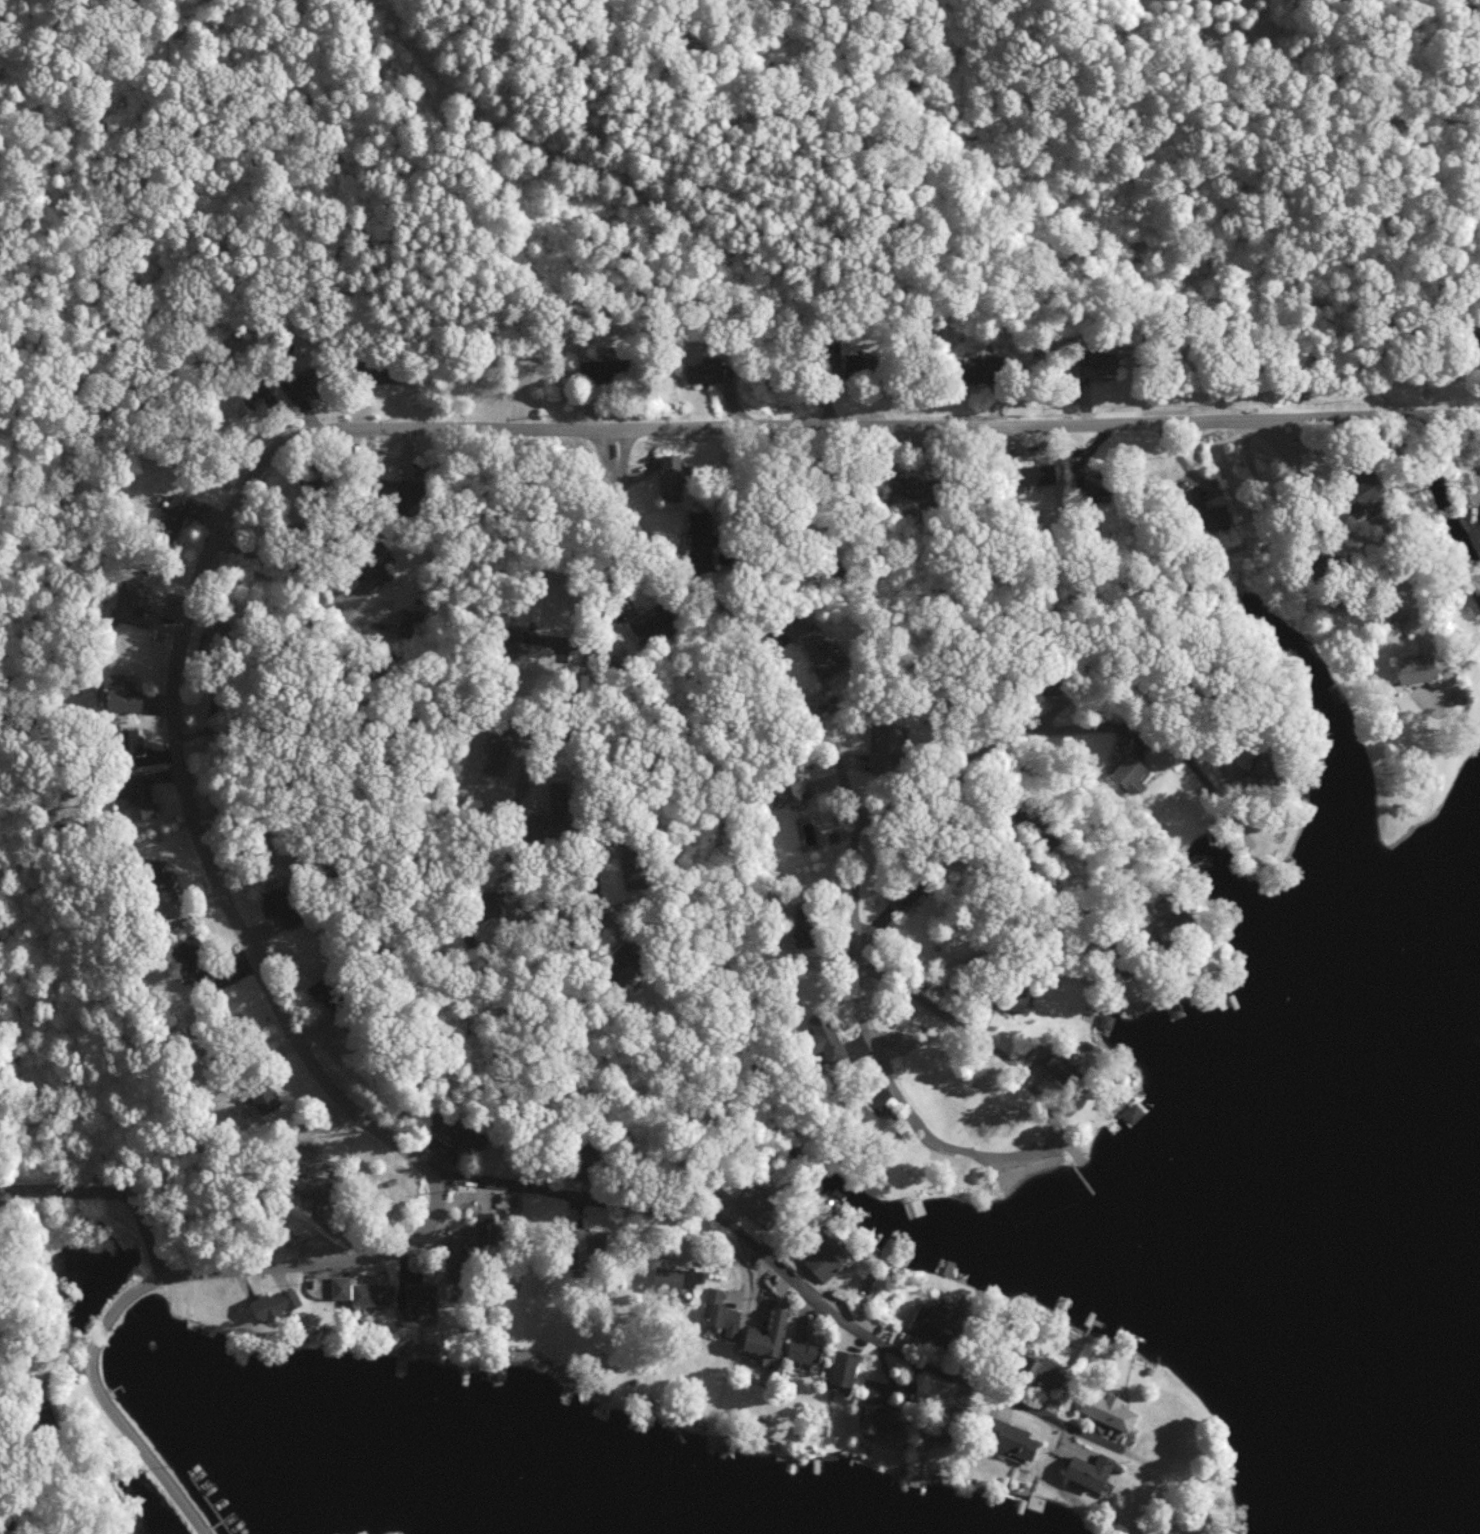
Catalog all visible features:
building: (1479, 333)
building: (851, 362)
building: (1099, 364)
building: (598, 369)
building: (705, 370)
building: (979, 373)
building: (381, 374)
building: (308, 382)
building: (244, 400)
road: (906, 416)
road: (1255, 473)
building: (673, 474)
building: (1038, 474)
building: (1088, 483)
building: (908, 486)
building: (401, 490)
building: (1374, 496)
building: (1212, 510)
building: (176, 514)
building: (703, 529)
road: (1369, 546)
road: (277, 561)
building: (375, 576)
building: (132, 602)
building: (655, 620)
building: (409, 622)
building: (517, 645)
building: (815, 647)
road: (586, 654)
building: (1419, 668)
road: (778, 675)
building: (122, 691)
road: (1031, 730)
building: (131, 740)
building: (888, 749)
building: (496, 755)
road: (575, 764)
building: (1131, 773)
building: (792, 792)
building: (135, 796)
building: (834, 838)
road: (1020, 866)
building: (159, 875)
building: (907, 892)
building: (282, 905)
road: (551, 937)
building: (201, 960)
building: (327, 994)
building: (1018, 999)
building: (1107, 1018)
building: (826, 1037)
building: (1057, 1061)
road: (341, 1090)
building: (264, 1095)
building: (1132, 1113)
building: (866, 1116)
building: (887, 1117)
building: (458, 1134)
road: (1057, 1151)
building: (314, 1186)
road: (107, 1191)
building: (759, 1206)
building: (487, 1228)
building: (818, 1257)
building: (673, 1276)
road: (783, 1277)
building: (362, 1290)
building: (420, 1293)
building: (276, 1304)
building: (721, 1311)
building: (938, 1327)
building: (770, 1336)
building: (806, 1350)
building: (844, 1367)
building: (1048, 1370)
building: (1107, 1408)
building: (879, 1414)
building: (949, 1425)
building: (1014, 1439)
building: (1091, 1470)

